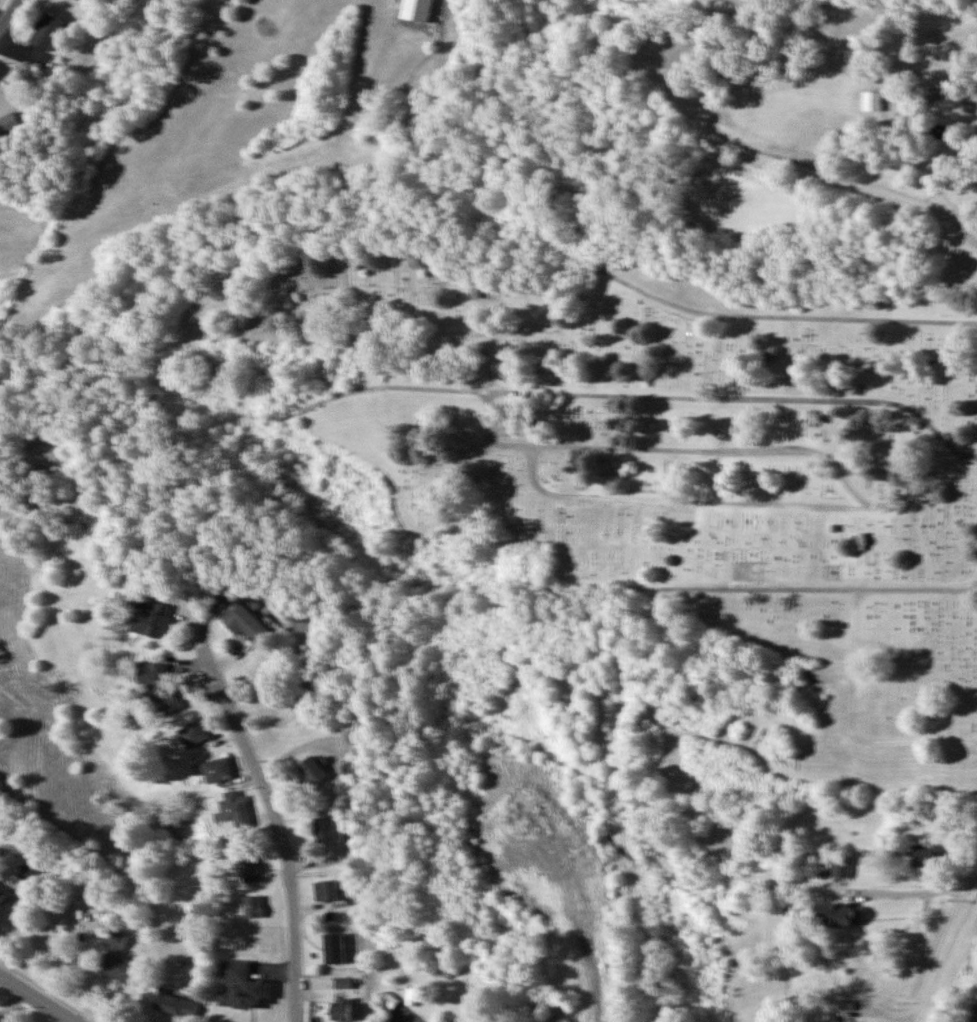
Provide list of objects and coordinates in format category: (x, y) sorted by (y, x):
building: (423, 10)
road: (9, 12)
building: (46, 31)
road: (656, 72)
building: (871, 101)
building: (8, 125)
park: (782, 129)
road: (768, 318)
road: (606, 395)
road: (488, 435)
park: (614, 469)
road: (677, 499)
road: (566, 582)
building: (150, 619)
building: (248, 623)
building: (159, 684)
building: (193, 733)
building: (217, 770)
building: (312, 770)
building: (235, 812)
building: (328, 829)
road: (279, 838)
building: (922, 855)
building: (833, 865)
building: (248, 867)
building: (30, 873)
road: (974, 882)
building: (328, 889)
building: (4, 897)
building: (253, 906)
road: (955, 909)
building: (837, 914)
building: (334, 948)
building: (116, 959)
building: (239, 984)
road: (35, 1000)
building: (174, 1003)
building: (340, 1011)
building: (846, 1021)

